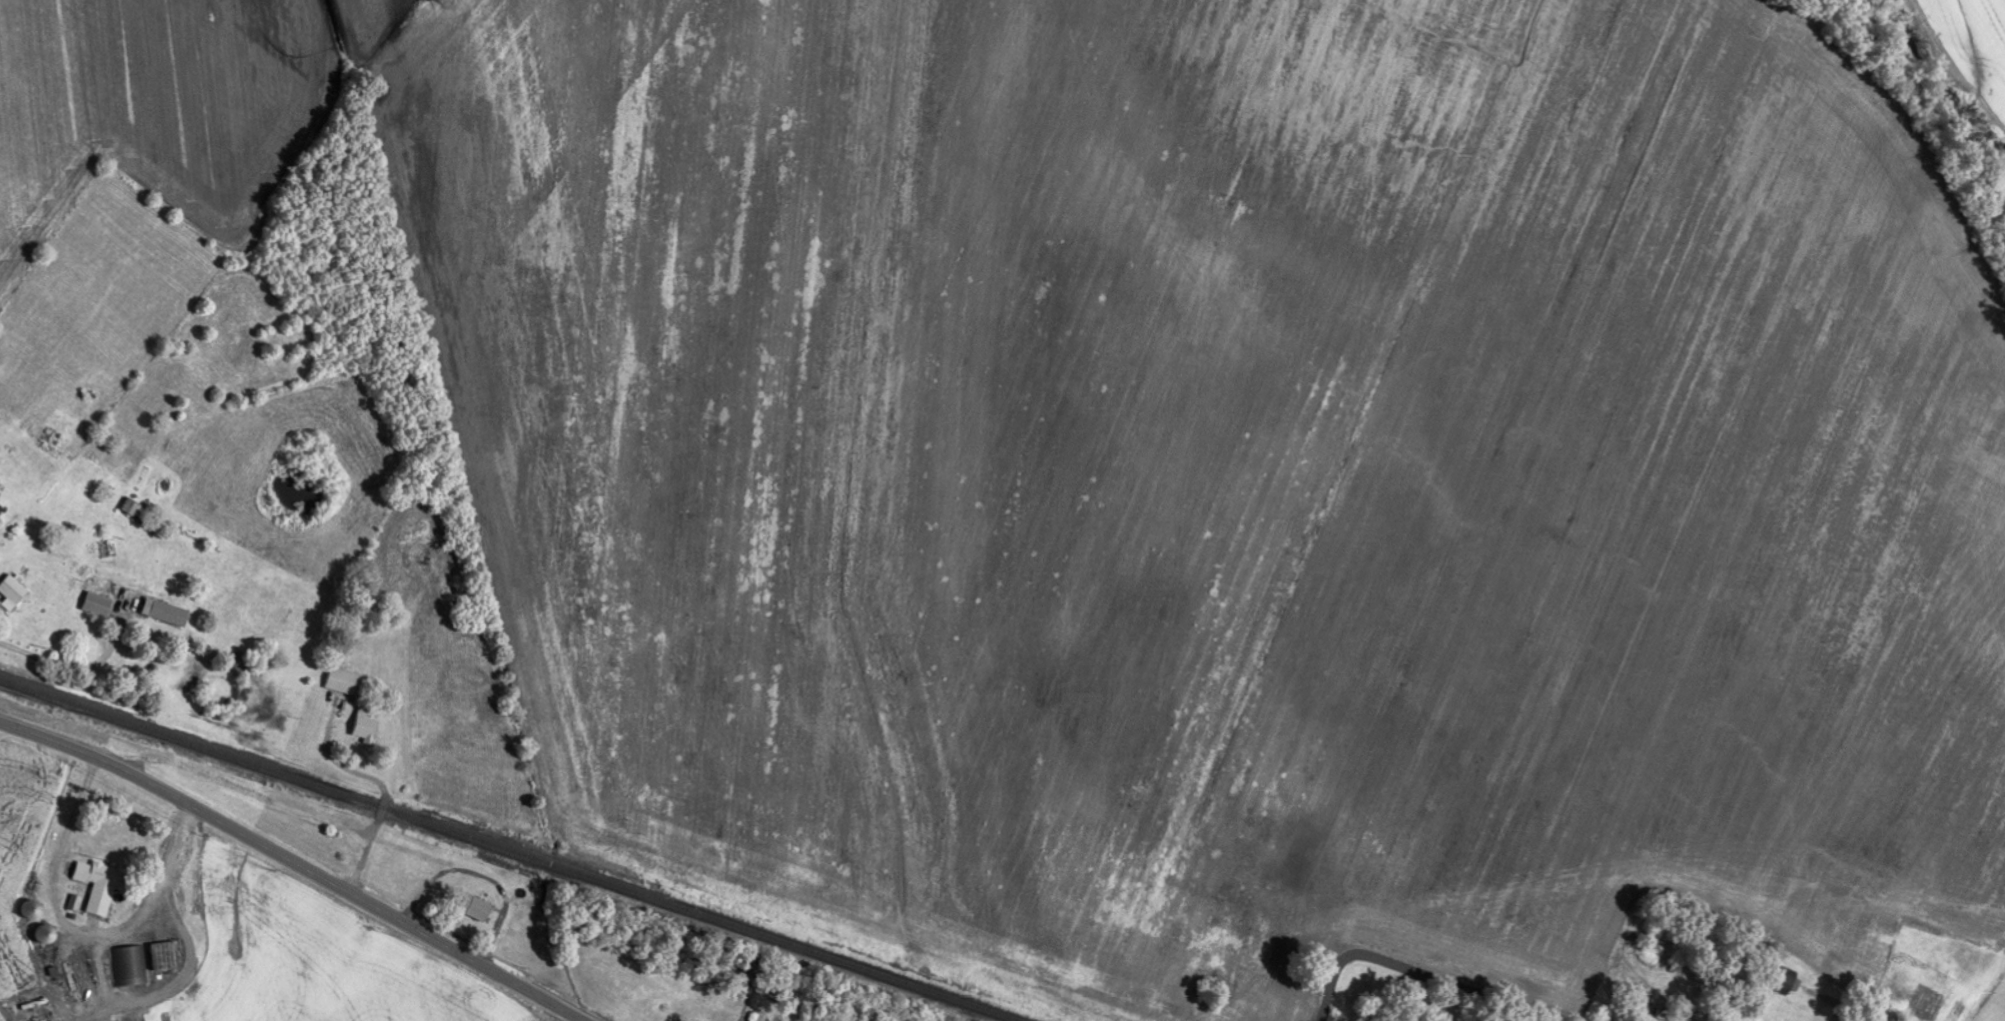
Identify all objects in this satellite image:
building: (137, 510)
building: (1, 514)
building: (13, 593)
building: (99, 605)
building: (167, 613)
road: (71, 667)
building: (344, 682)
building: (366, 726)
road: (383, 789)
railway: (506, 850)
road: (293, 865)
building: (102, 886)
building: (76, 903)
building: (477, 908)
road: (77, 940)
building: (166, 957)
building: (131, 967)
road: (1423, 970)
road: (105, 975)
road: (188, 978)

